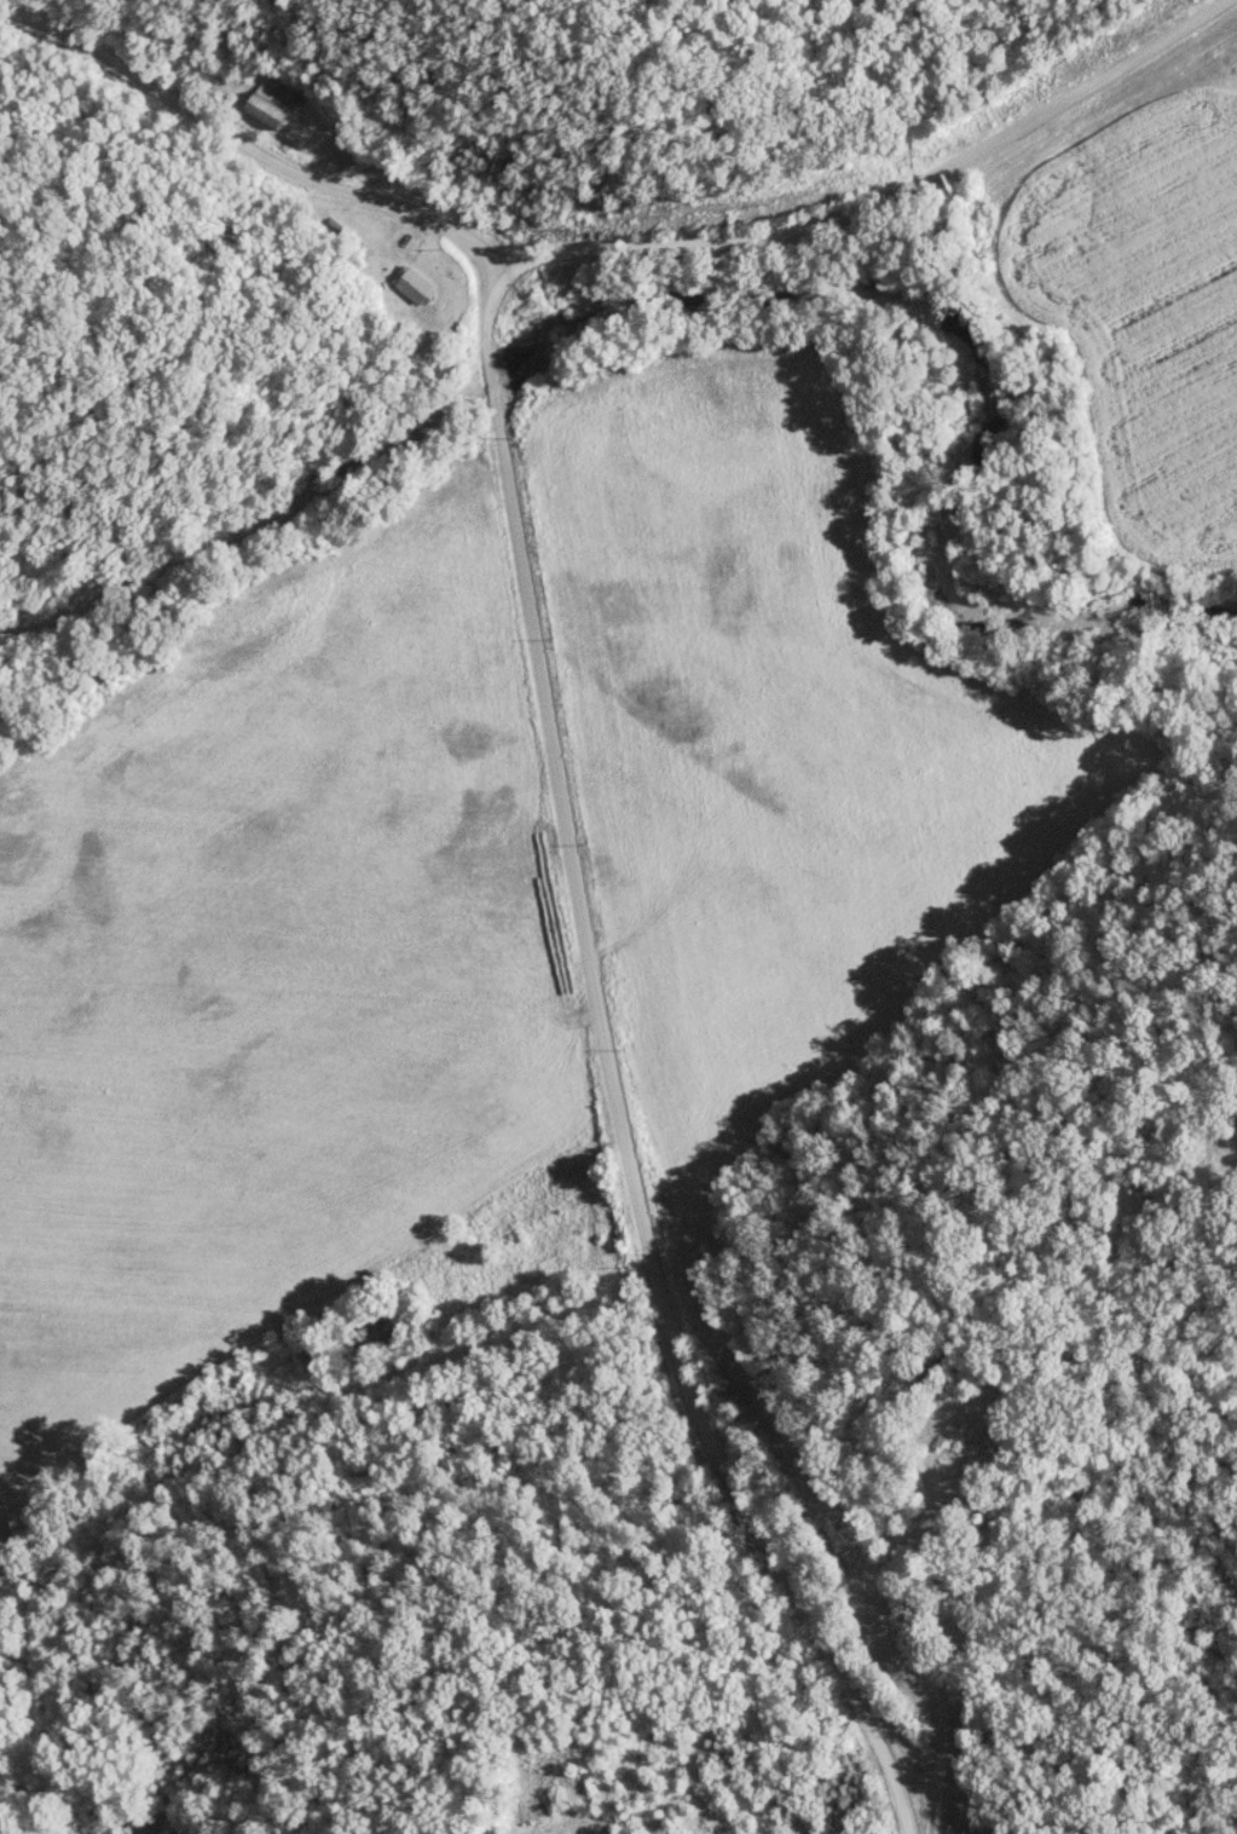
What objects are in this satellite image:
building: (267, 105)
road: (258, 128)
road: (866, 194)
building: (412, 284)
road: (486, 321)
road: (622, 1132)

